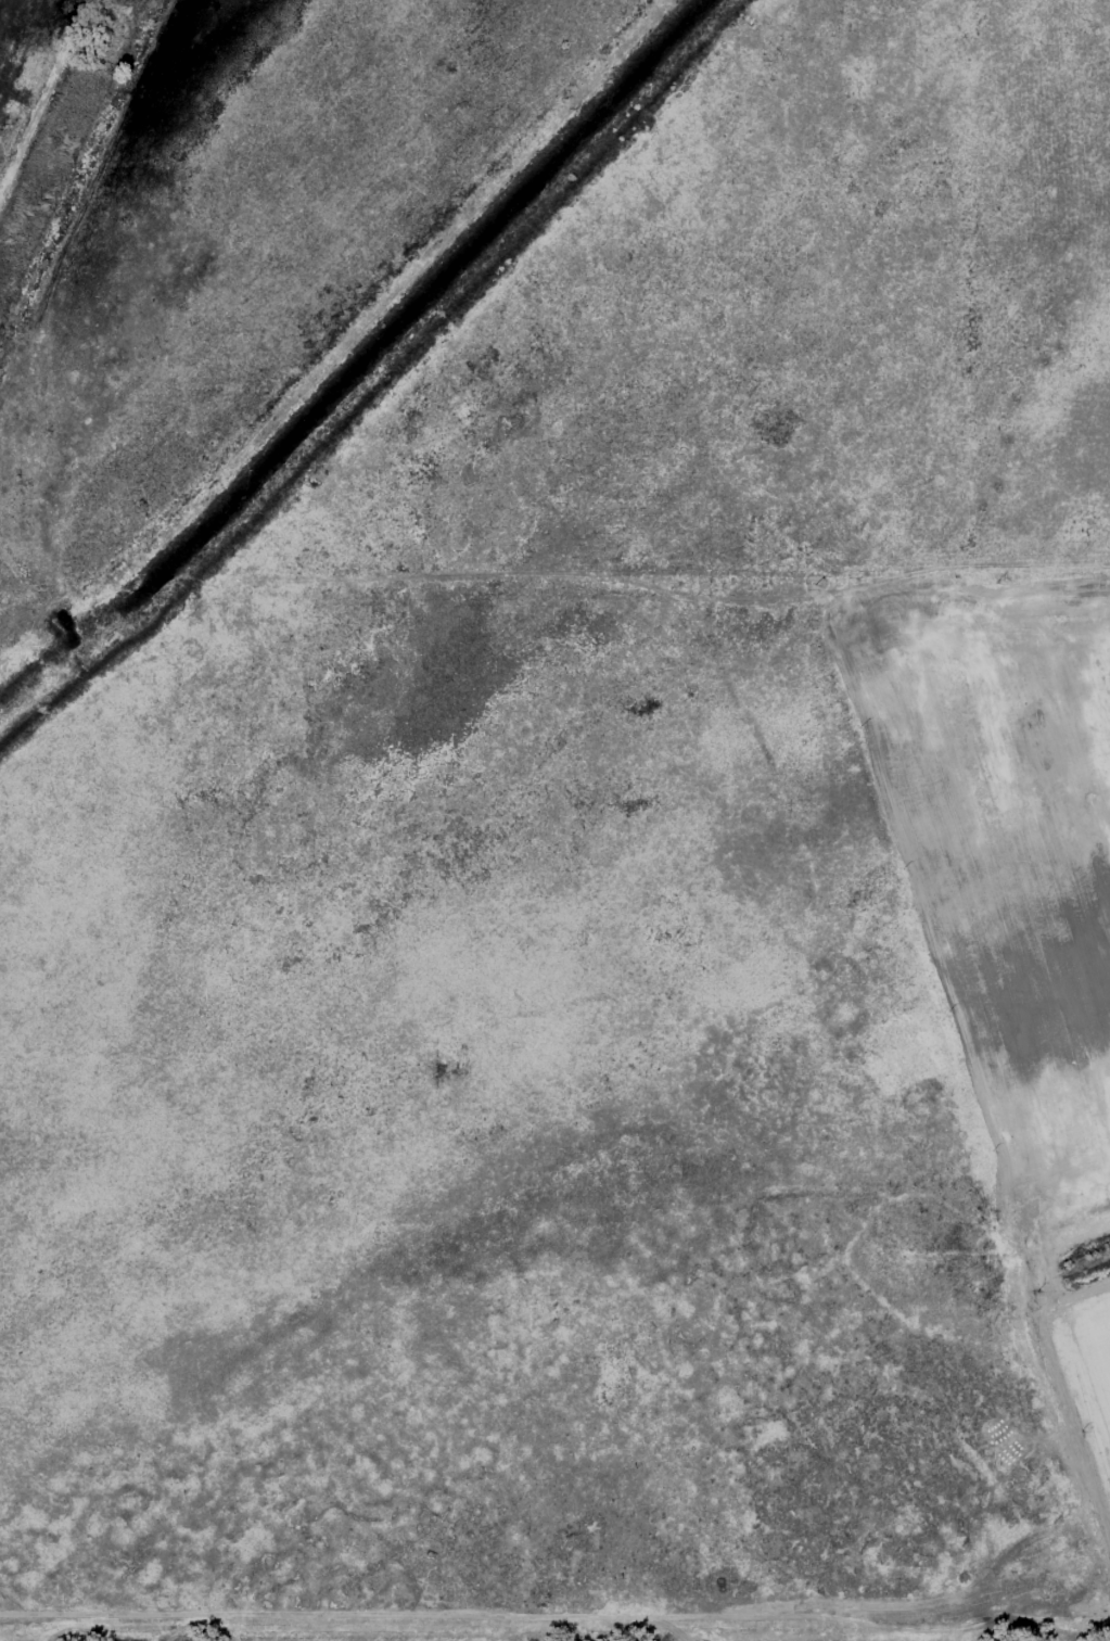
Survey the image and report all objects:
river: (356, 372)
road: (671, 594)

